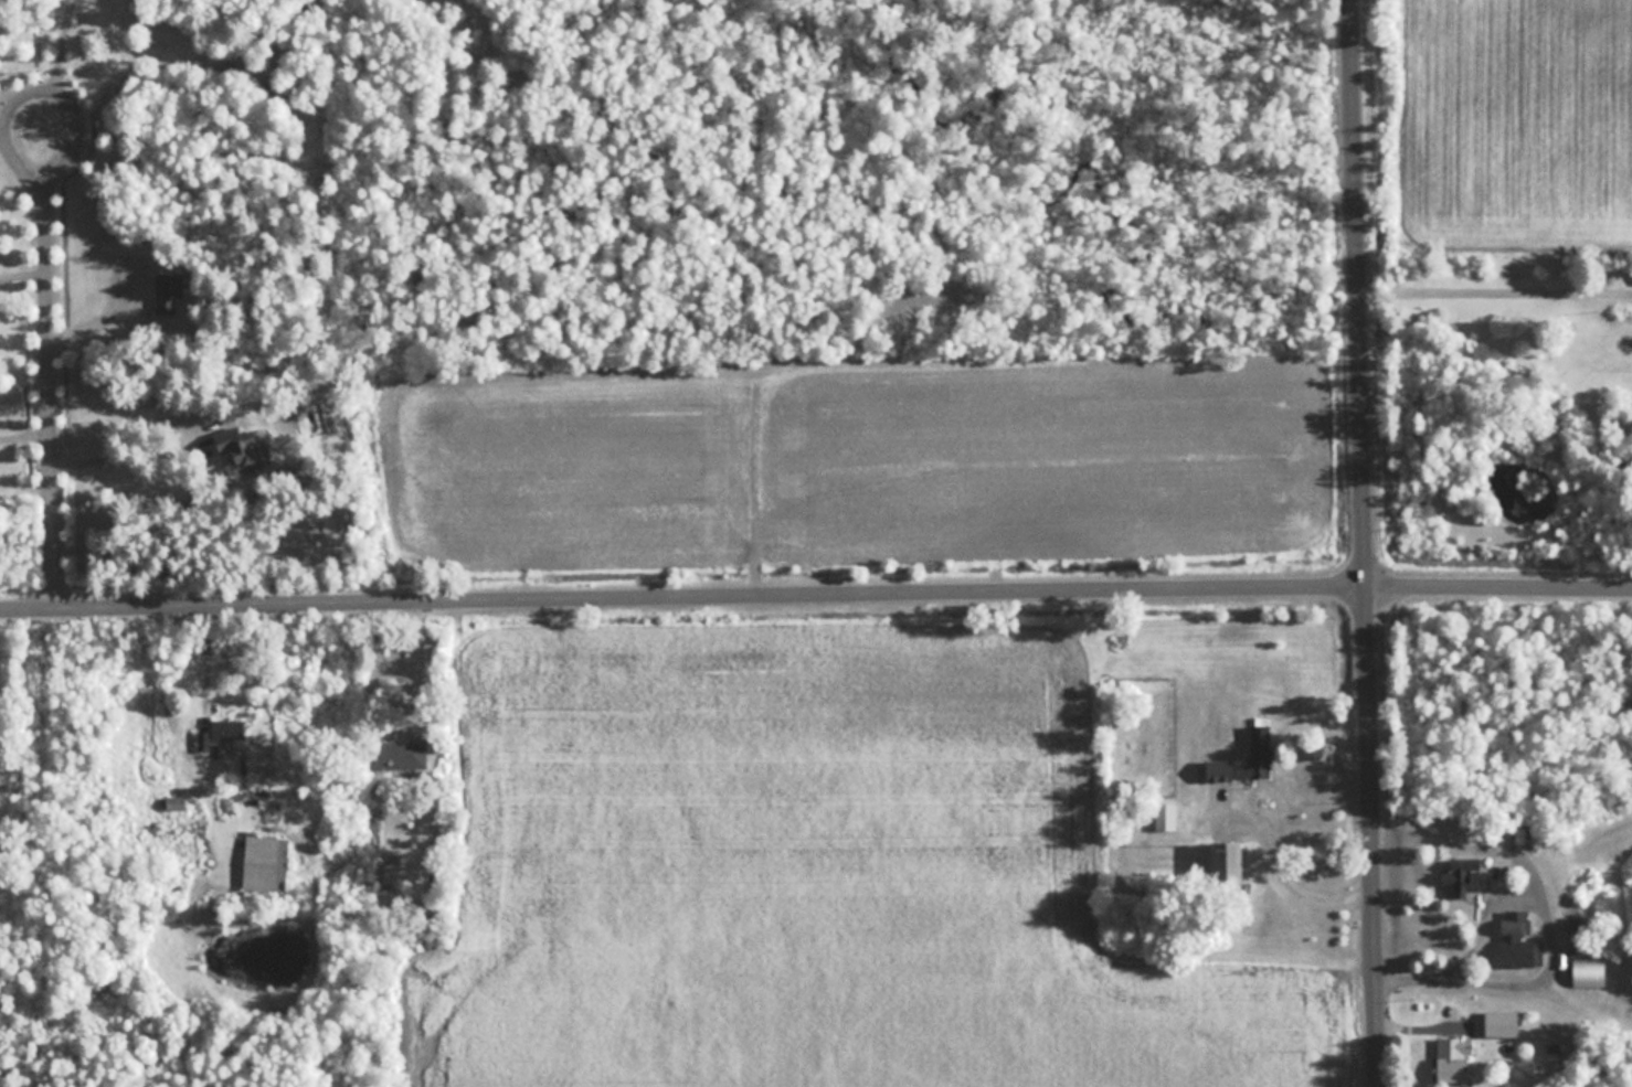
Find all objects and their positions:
road: (56, 58)
road: (20, 106)
road: (1495, 280)
building: (169, 291)
road: (45, 367)
building: (241, 451)
road: (1366, 543)
road: (815, 605)
building: (229, 731)
building: (1260, 752)
building: (395, 755)
building: (1219, 770)
building: (1226, 863)
building: (265, 864)
building: (383, 874)
building: (1463, 877)
building: (1518, 941)
road: (1552, 949)
building: (1502, 1024)
building: (1453, 1059)

